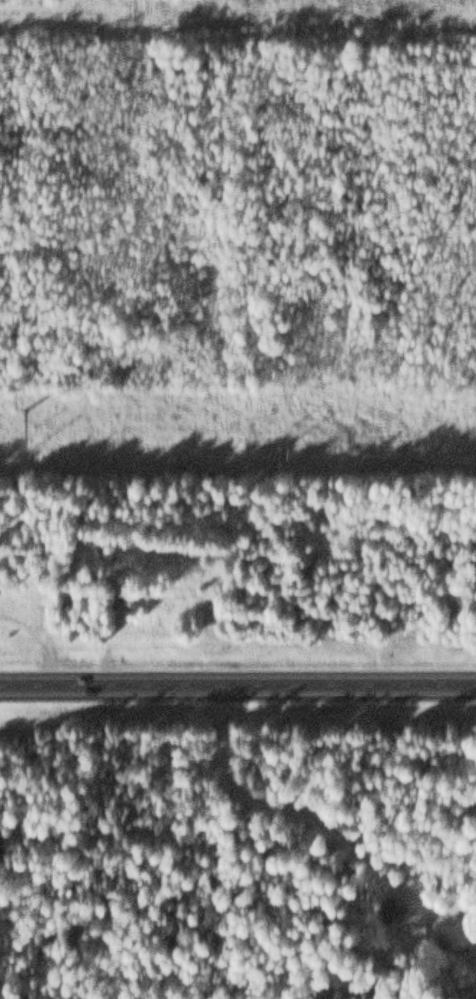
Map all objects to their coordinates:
power tower: (23, 404)
building: (102, 552)
road: (238, 682)
building: (457, 932)

